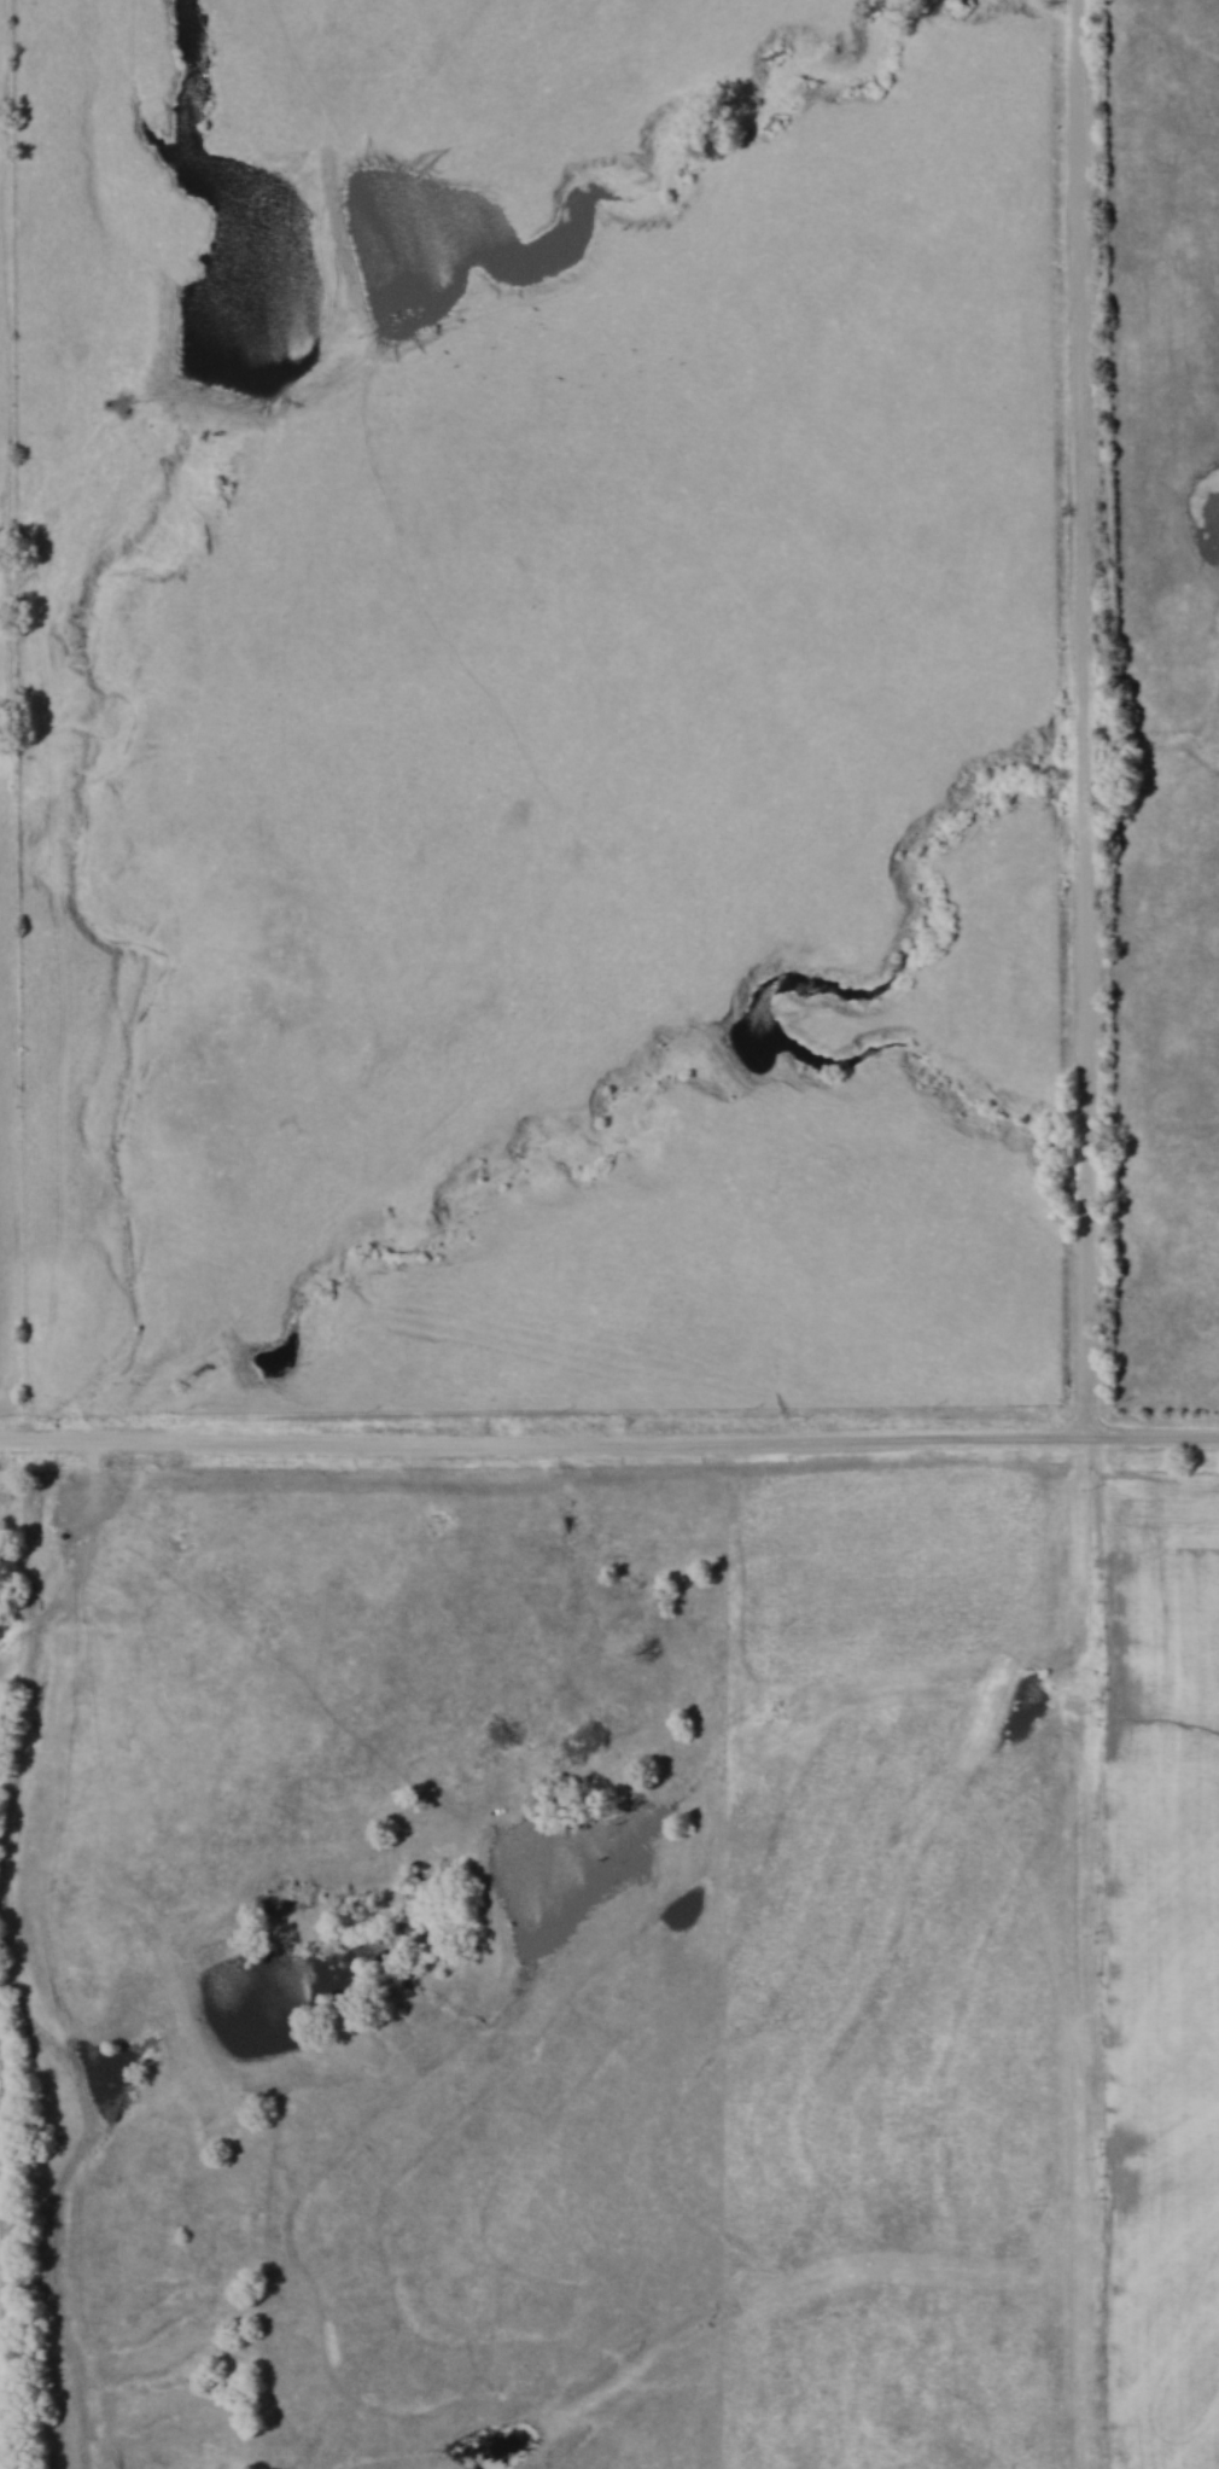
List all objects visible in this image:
road: (1089, 717)
road: (609, 1426)

